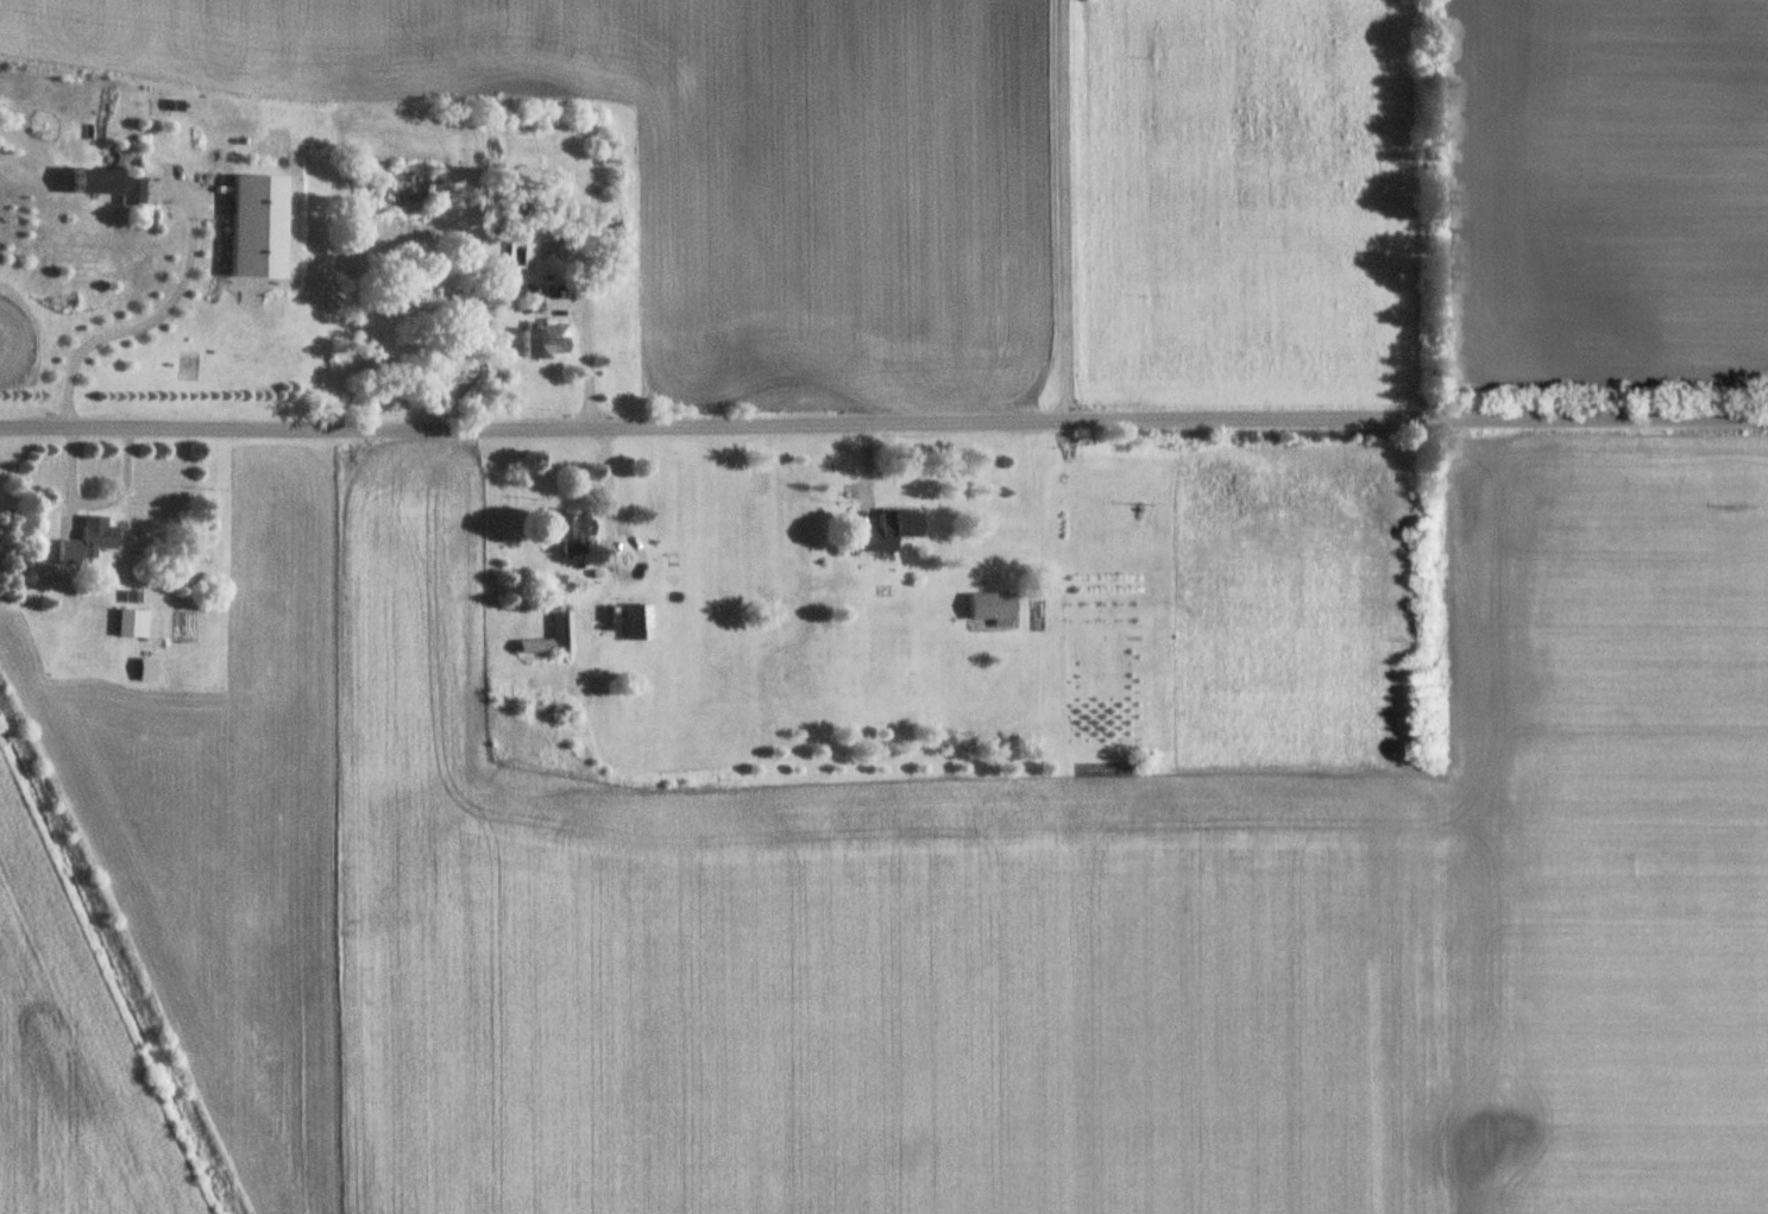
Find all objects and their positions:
building: (103, 184)
building: (379, 197)
road: (1064, 207)
building: (247, 226)
building: (527, 301)
road: (147, 314)
building: (537, 341)
road: (883, 416)
building: (881, 526)
building: (565, 533)
building: (82, 536)
building: (987, 600)
building: (126, 614)
building: (631, 618)
building: (545, 634)
building: (141, 667)

